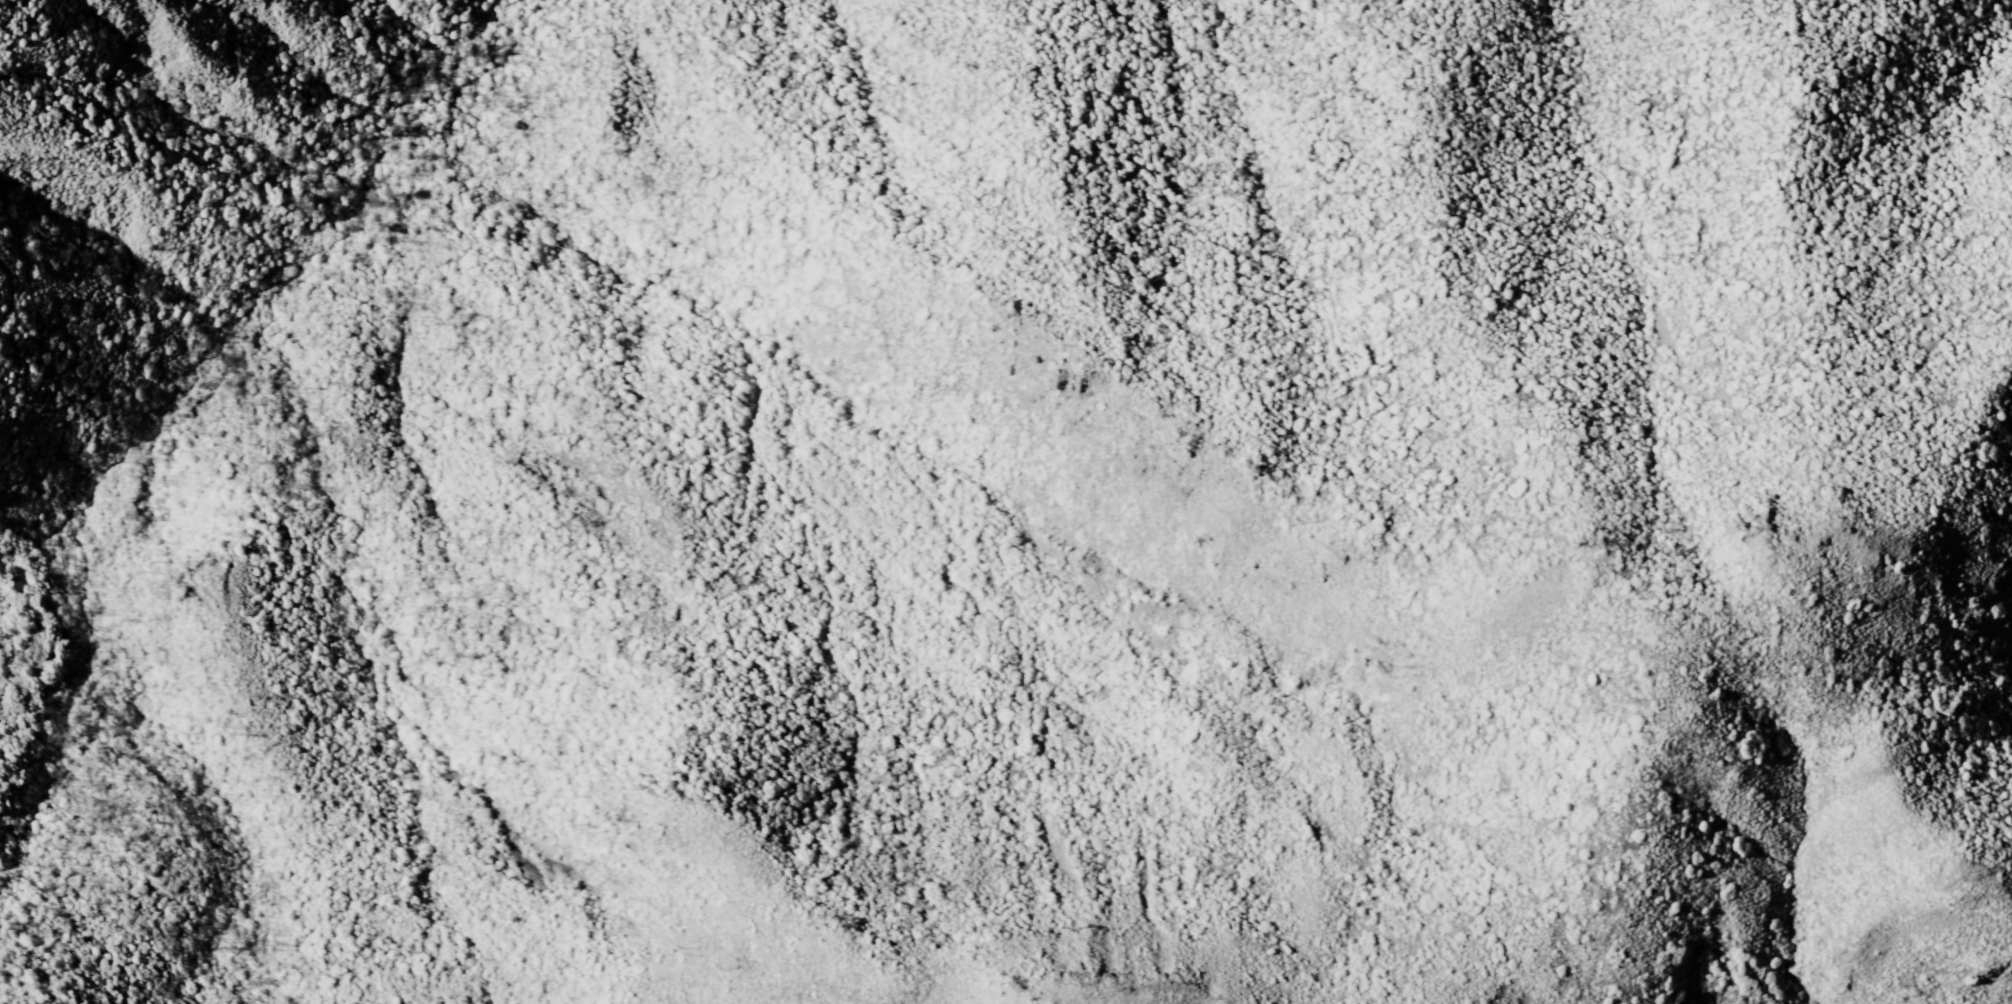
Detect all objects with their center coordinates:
road: (127, 128)

